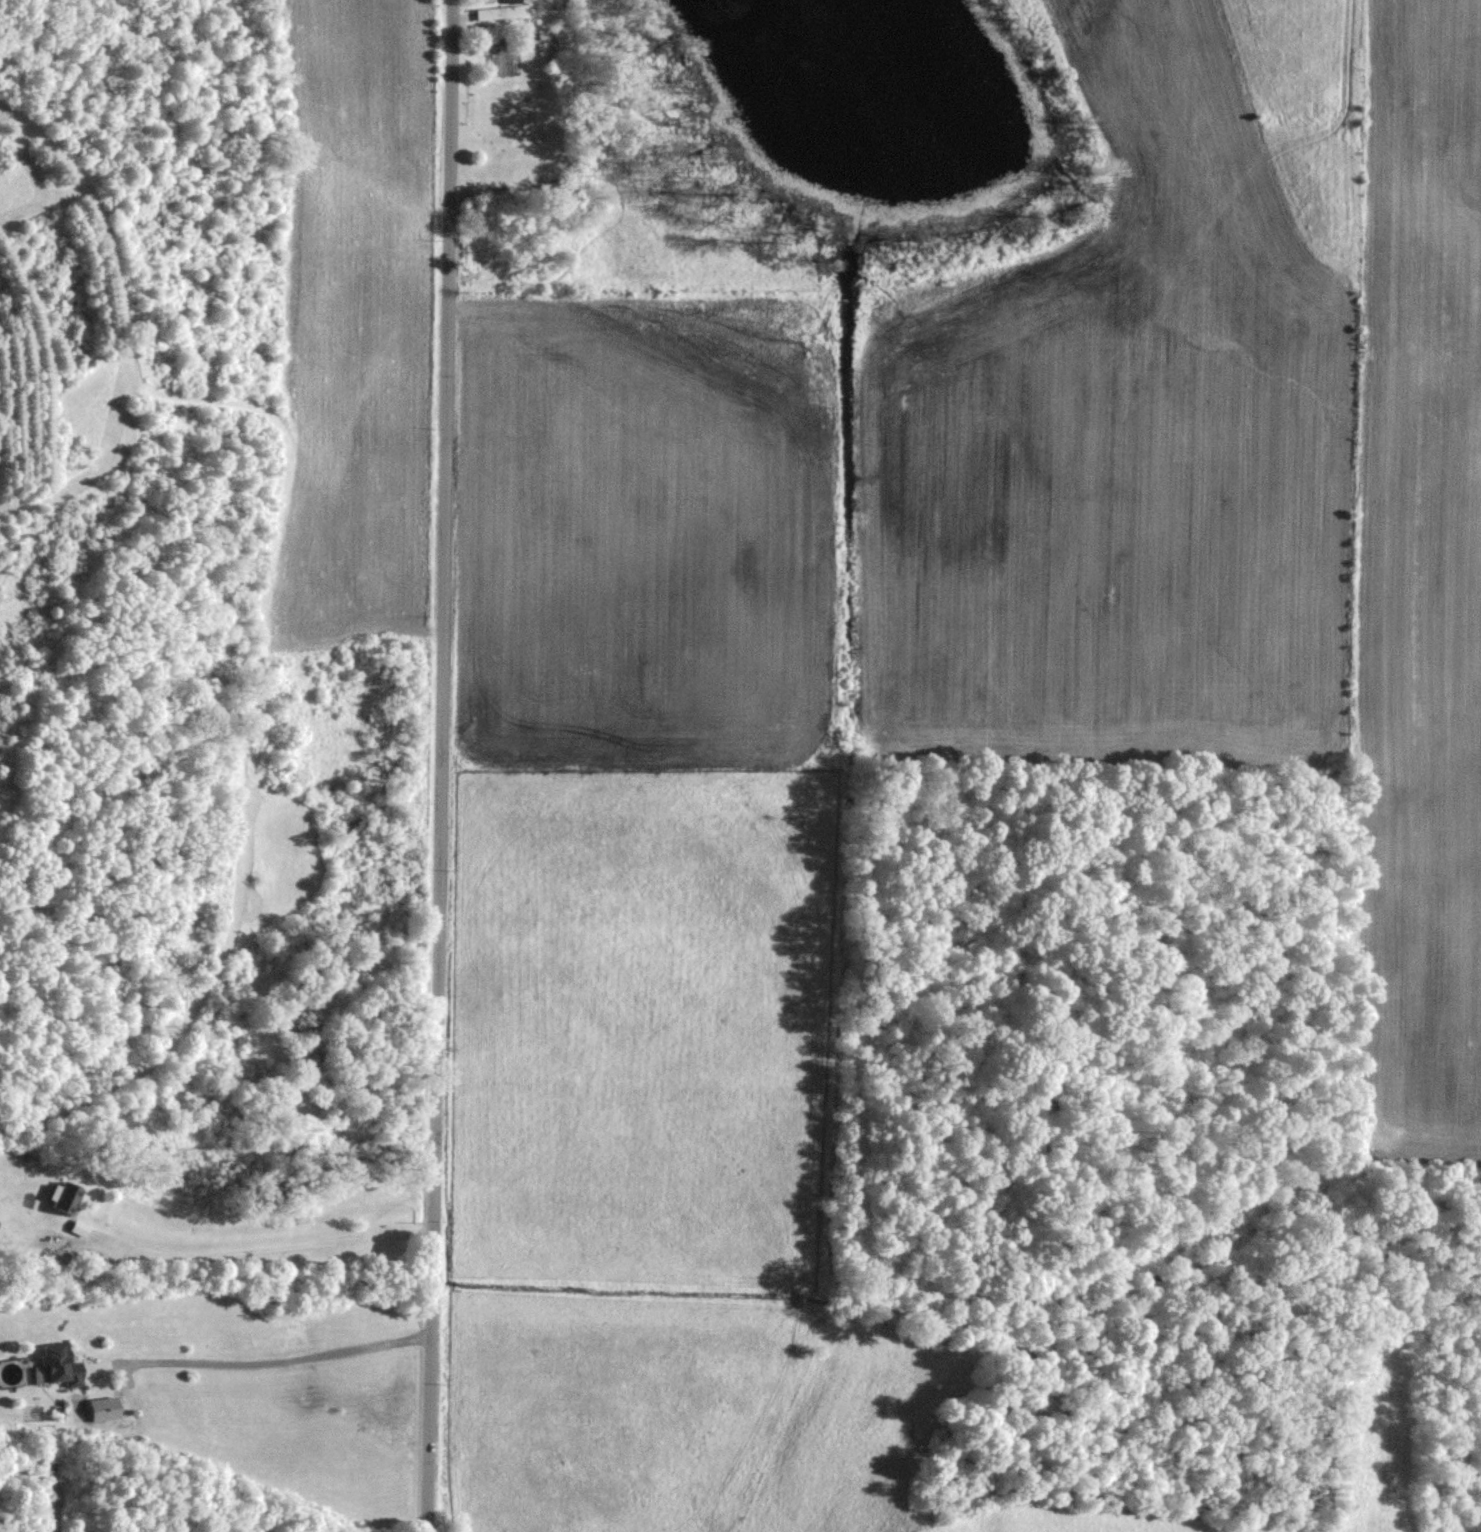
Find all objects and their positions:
building: (497, 13)
road: (442, 766)
building: (66, 1200)
road: (267, 1244)
road: (267, 1357)
building: (59, 1367)

